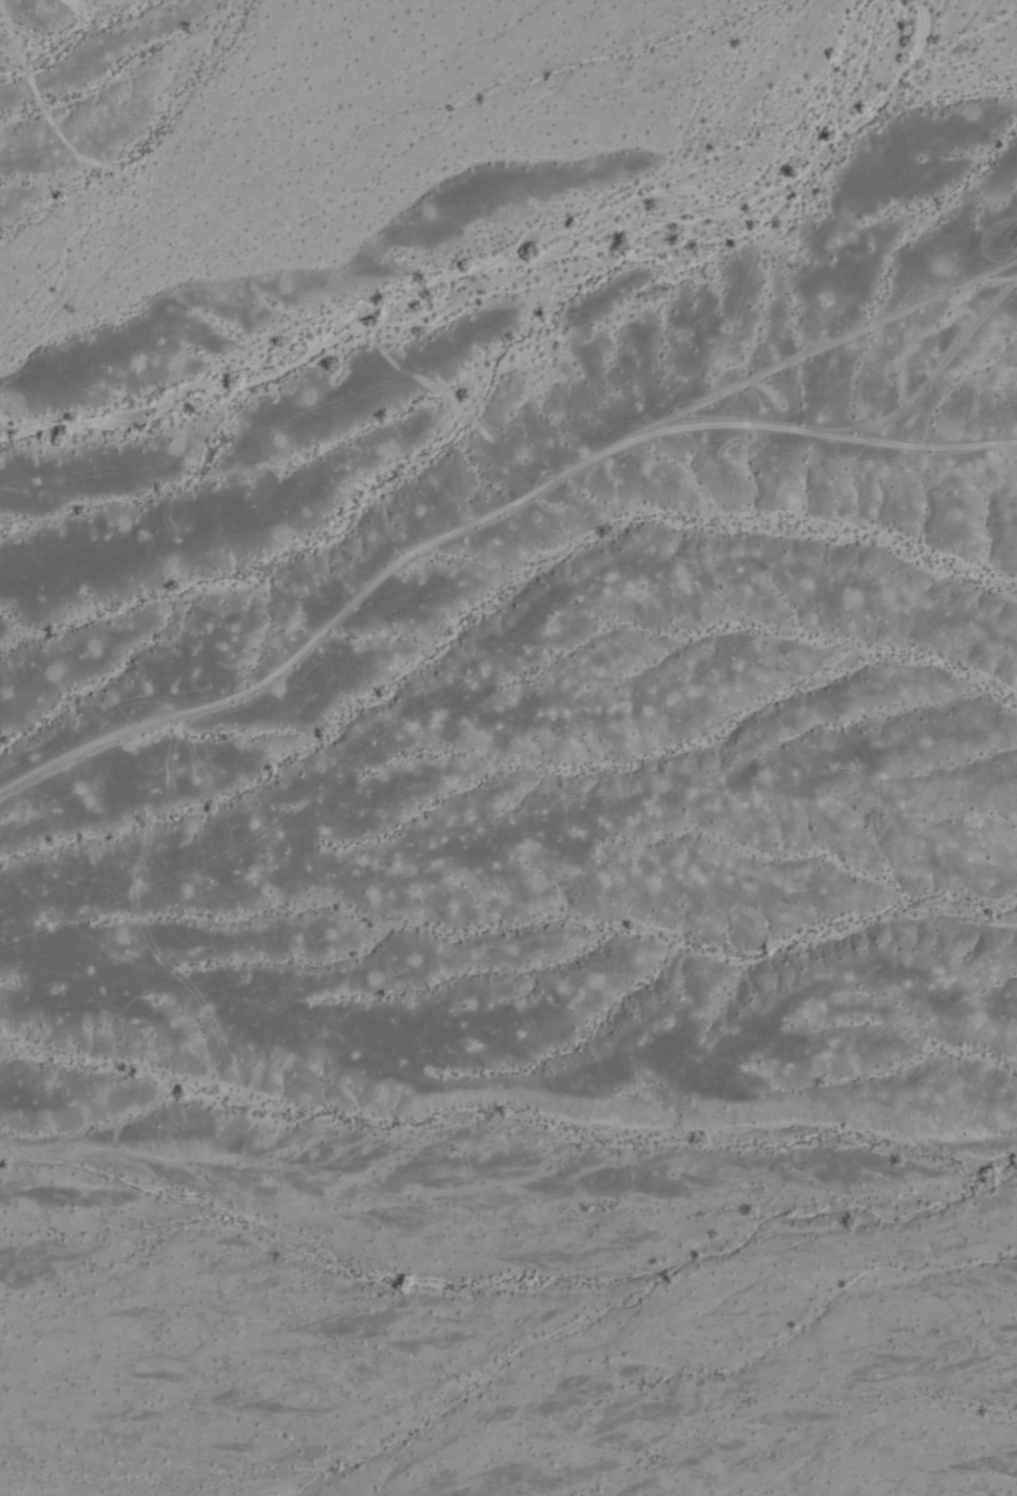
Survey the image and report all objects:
road: (831, 437)
road: (329, 626)

